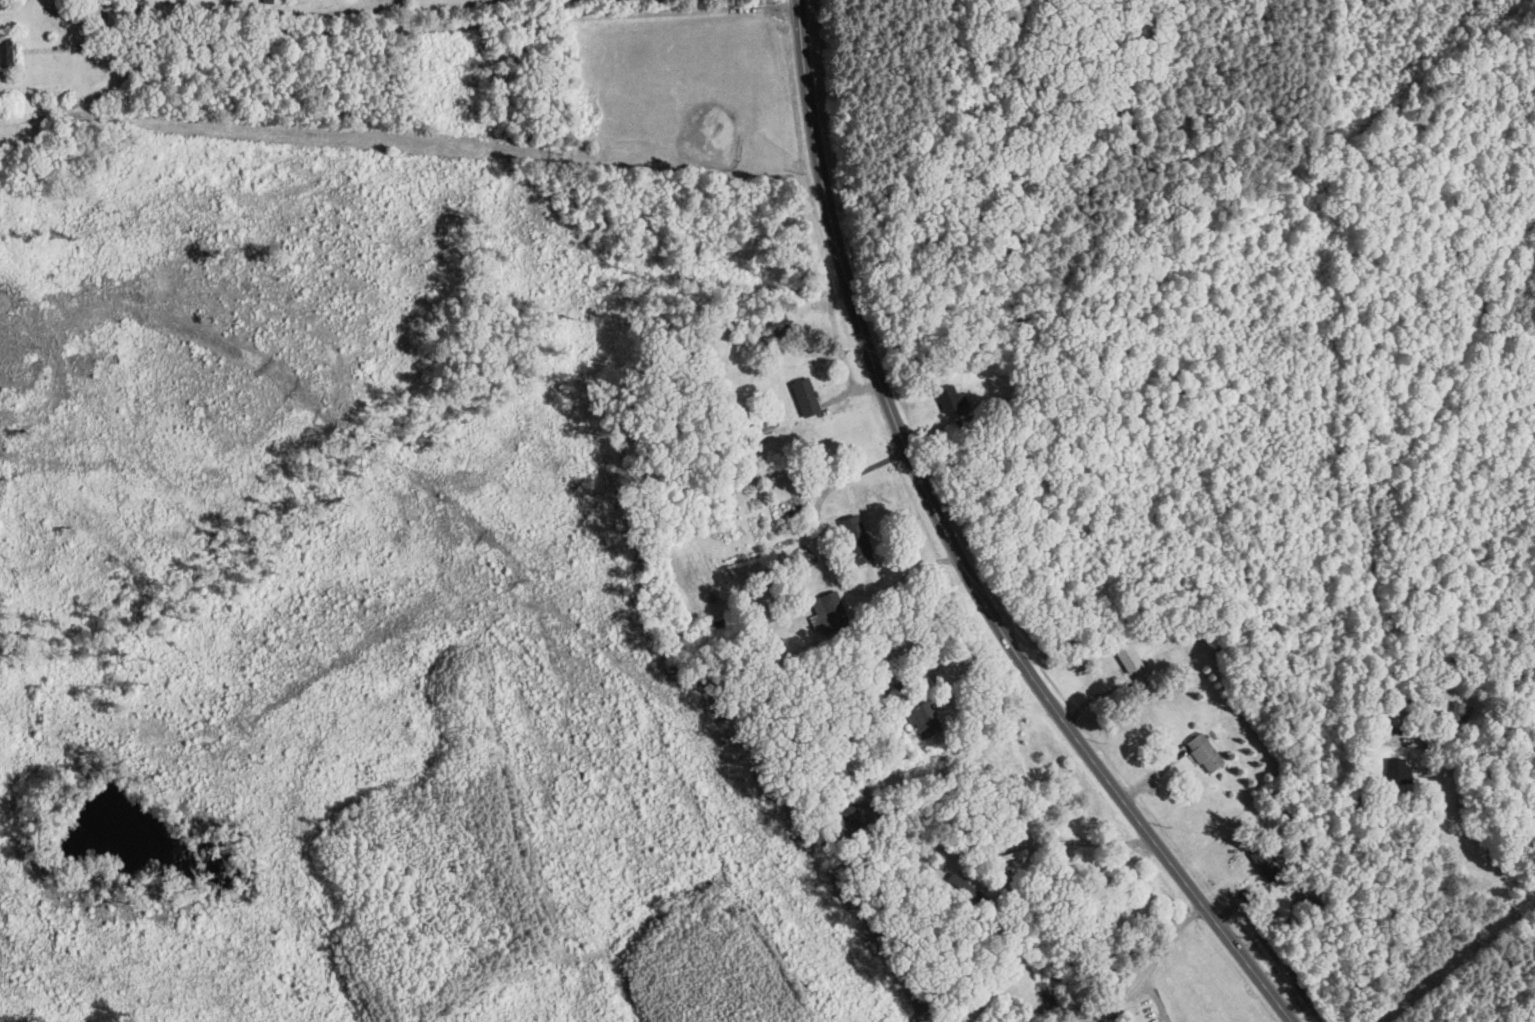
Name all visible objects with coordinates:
building: (136, 8)
road: (447, 35)
building: (6, 52)
building: (779, 324)
building: (806, 399)
building: (950, 401)
building: (857, 541)
road: (961, 549)
road: (825, 560)
building: (830, 614)
building: (1130, 661)
road: (936, 681)
building: (876, 691)
building: (1458, 715)
building: (922, 721)
building: (1204, 754)
building: (1399, 773)
road: (1357, 799)
building: (1265, 864)
road: (1154, 971)

